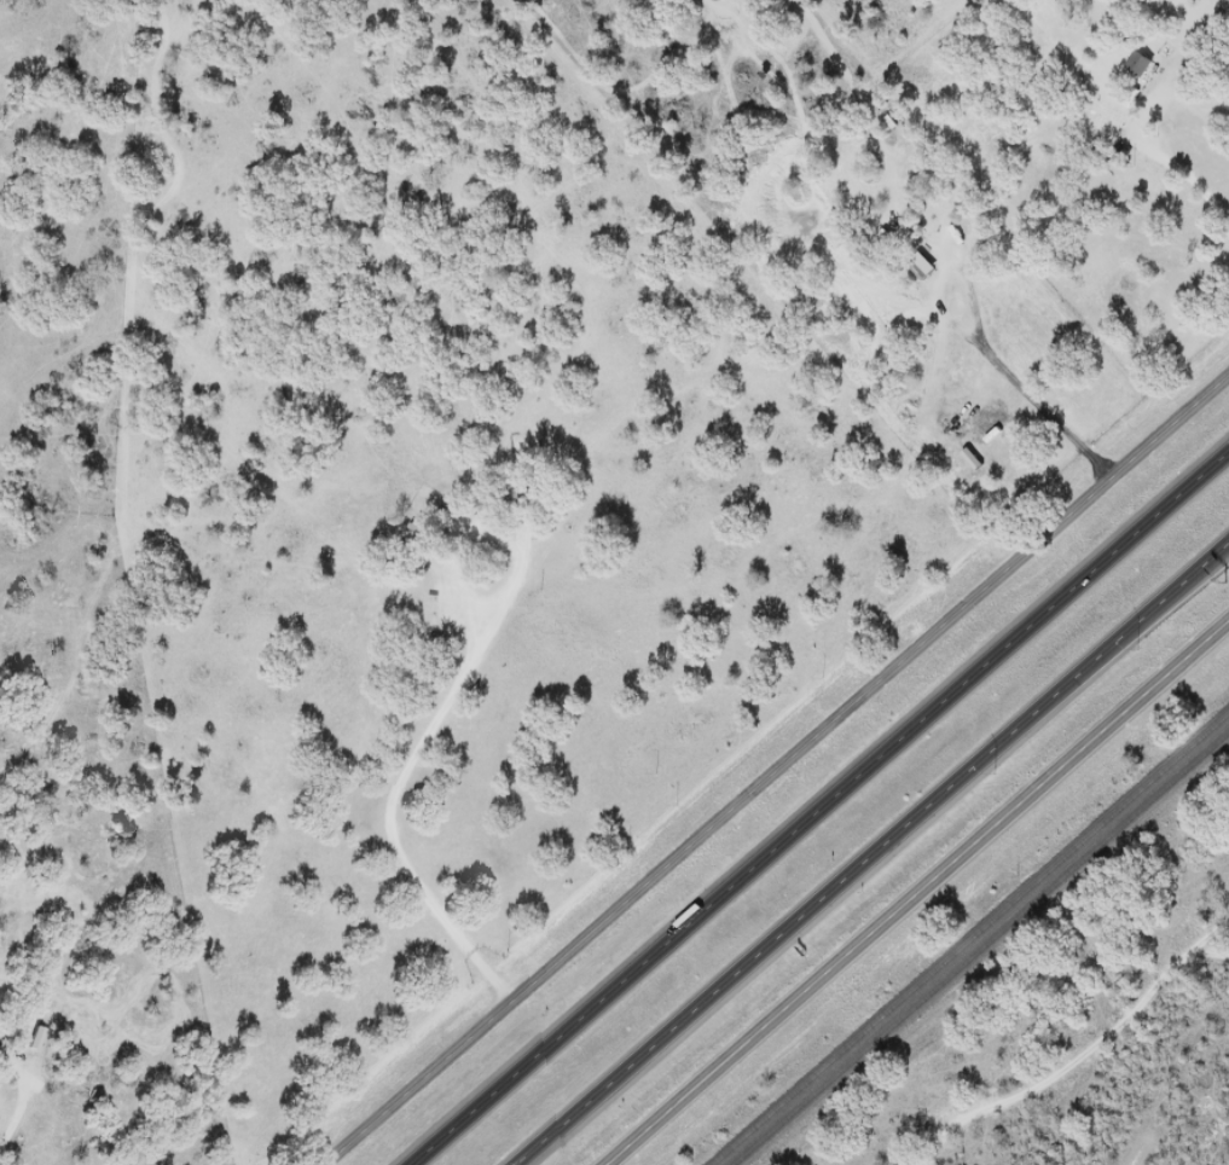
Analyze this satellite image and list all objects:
road: (440, 709)
road: (781, 772)
road: (818, 808)
road: (873, 852)
road: (916, 892)
railway: (966, 935)
railway: (981, 949)
road: (1205, 958)
road: (1053, 1072)
road: (1, 1152)

